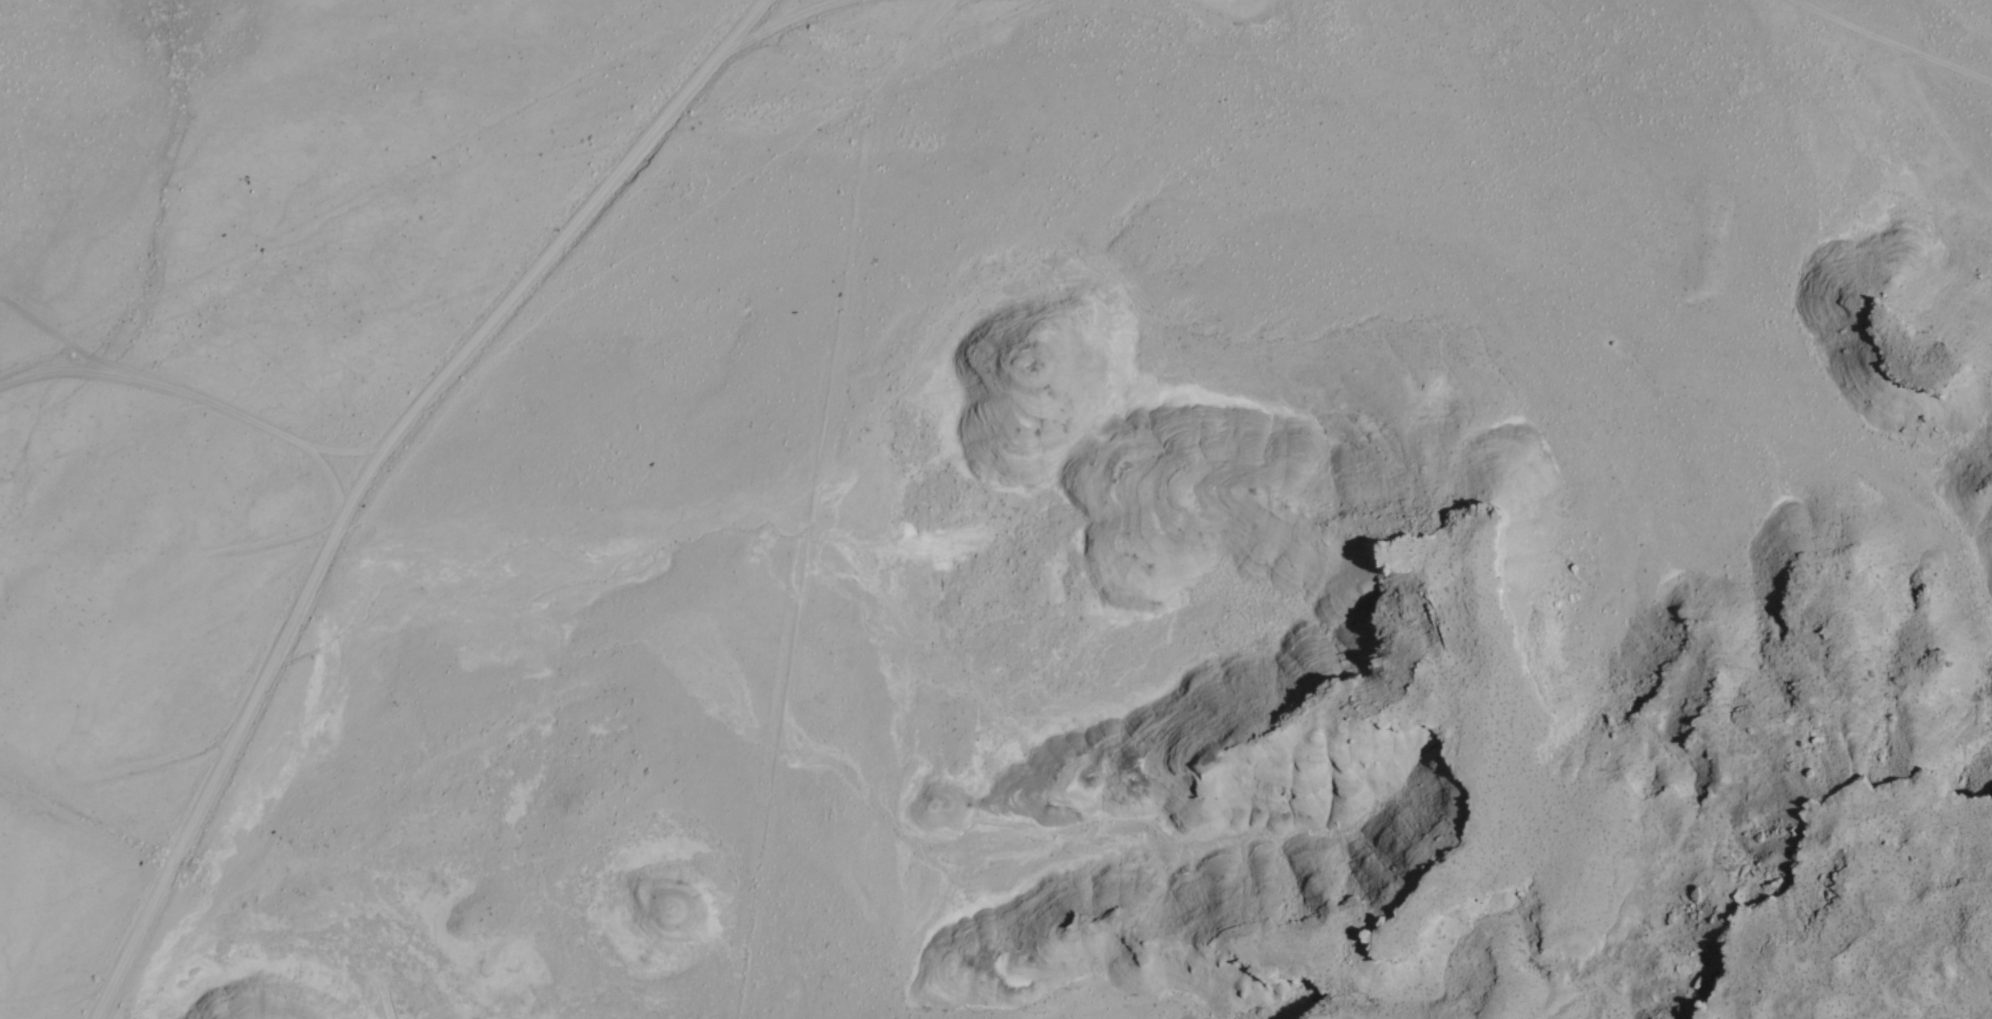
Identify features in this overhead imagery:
road: (1247, 3)
road: (772, 20)
road: (1901, 38)
road: (97, 350)
road: (197, 391)
road: (346, 446)
road: (367, 471)

